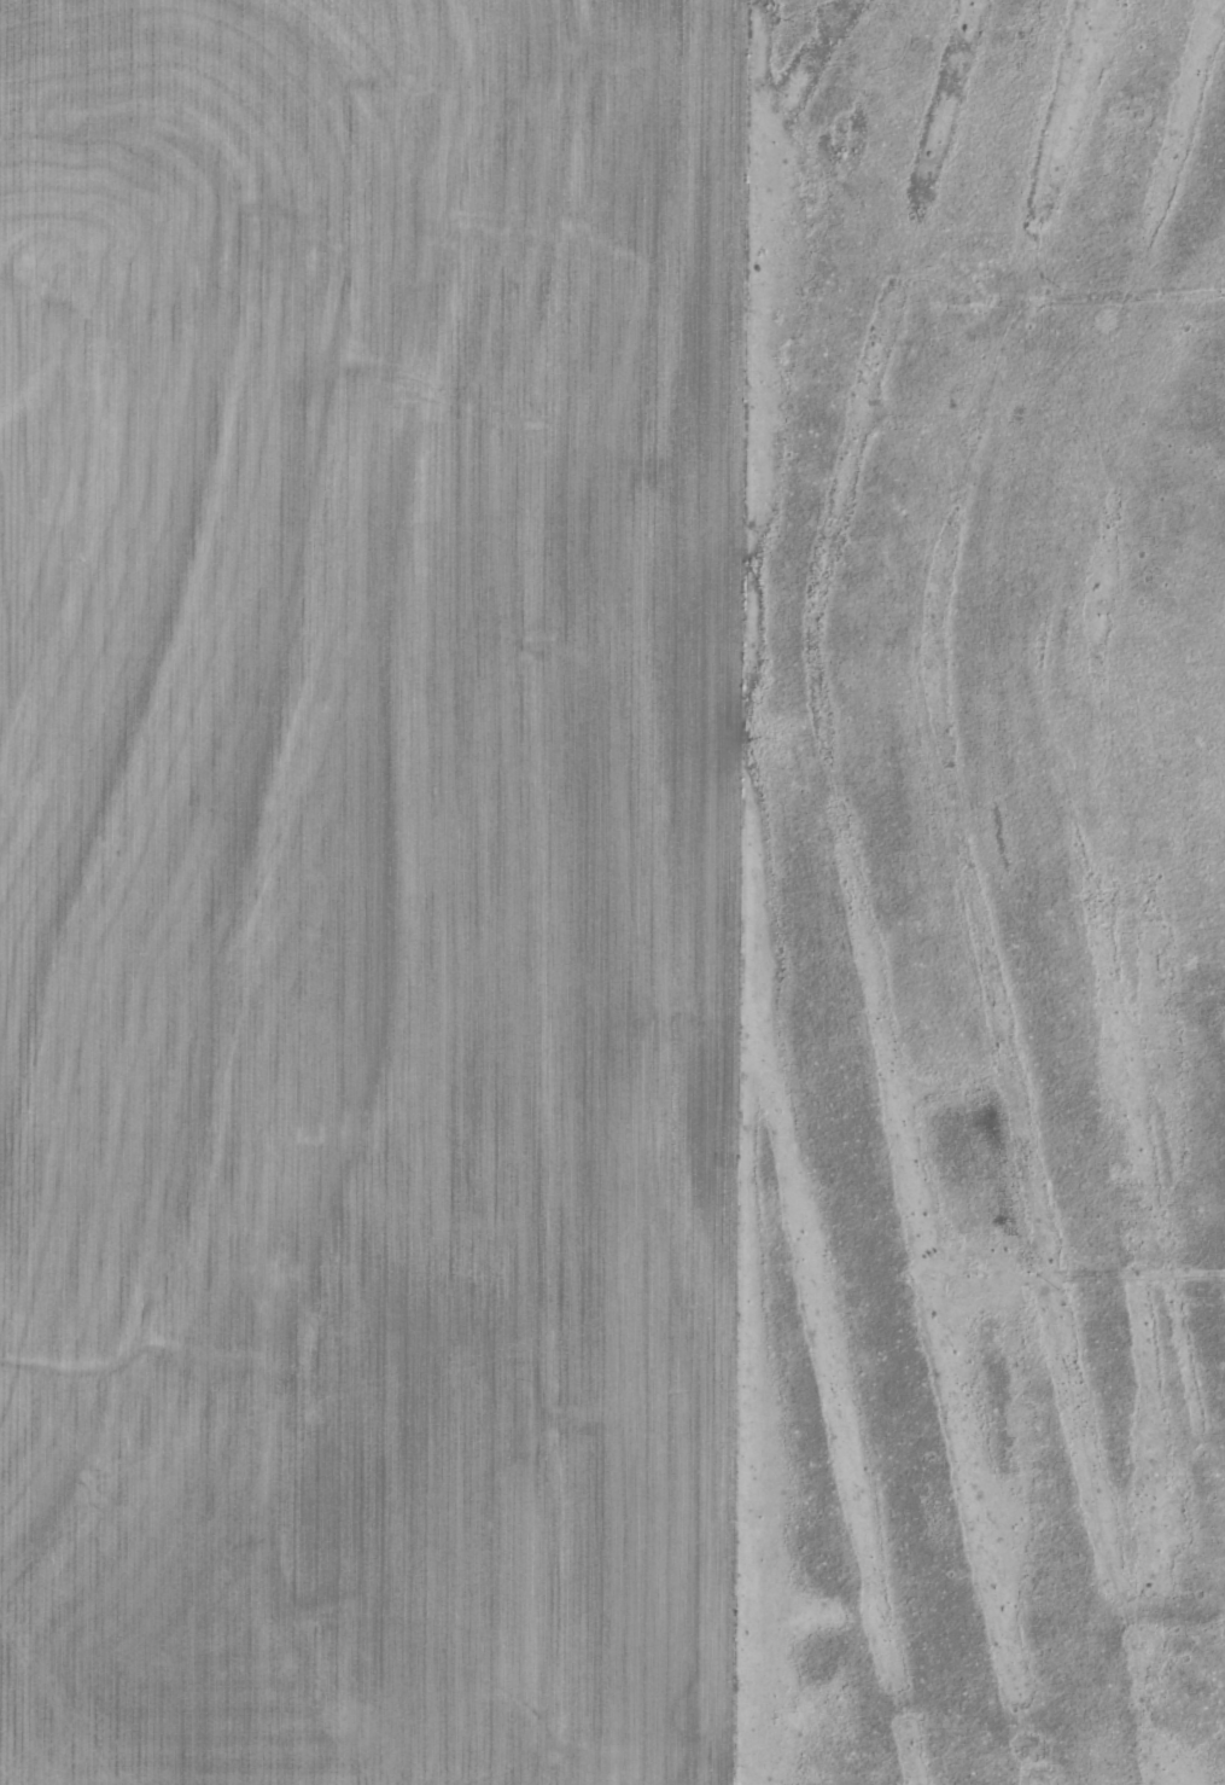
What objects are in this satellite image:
road: (214, 298)
road: (953, 889)
road: (222, 1267)

